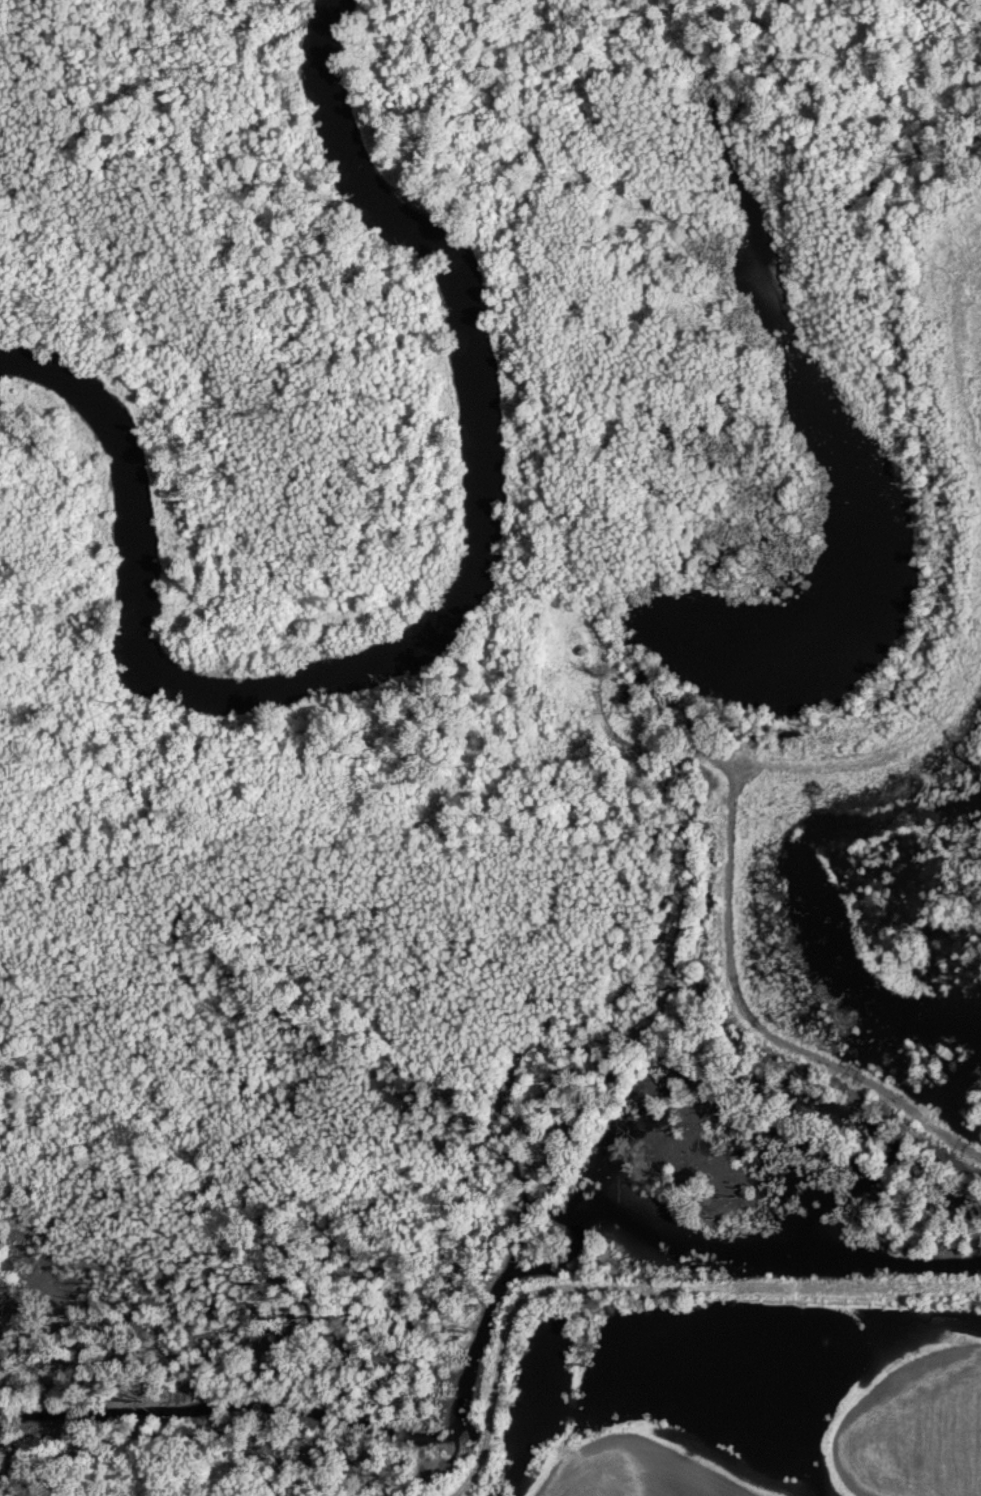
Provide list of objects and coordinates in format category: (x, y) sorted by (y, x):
road: (725, 947)

